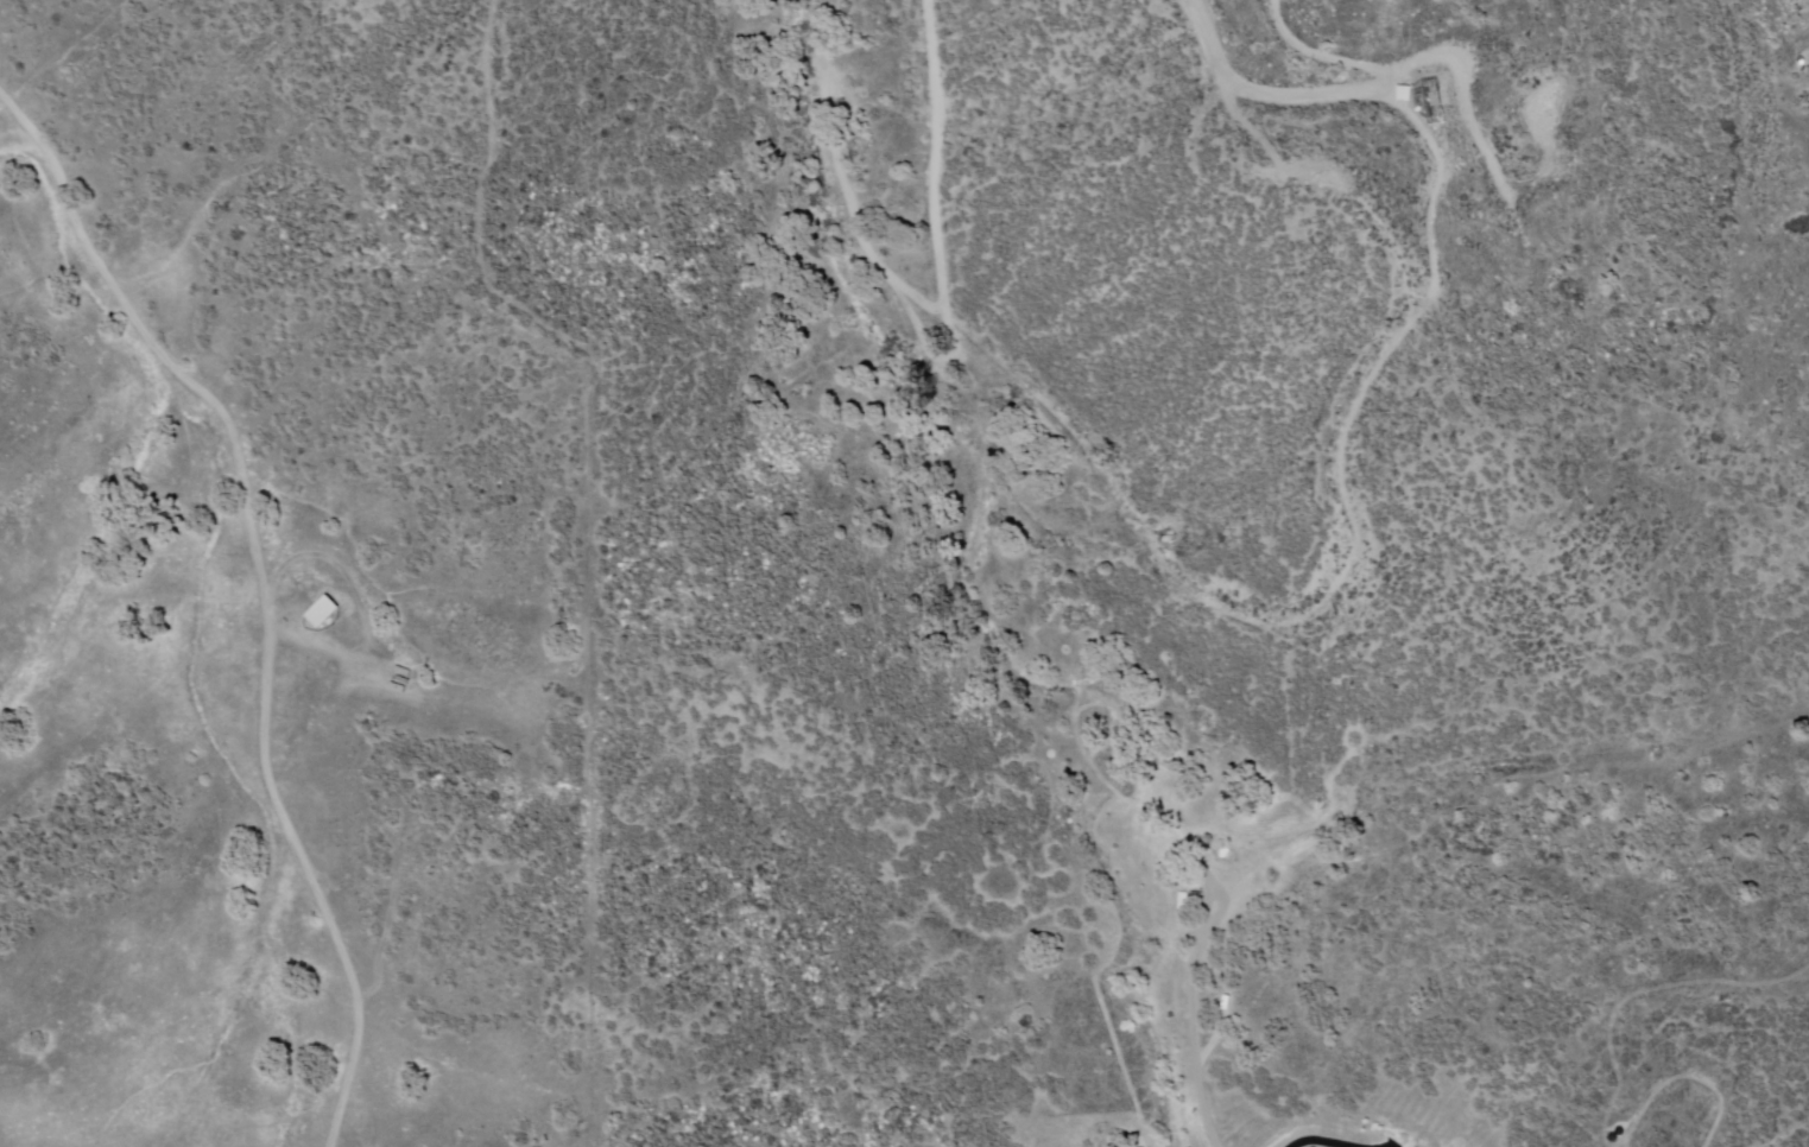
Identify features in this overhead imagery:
building: (1404, 83)
building: (1435, 103)
road: (264, 592)
building: (322, 614)
building: (1197, 898)
building: (1183, 902)
building: (1225, 1001)
road: (1324, 1140)

